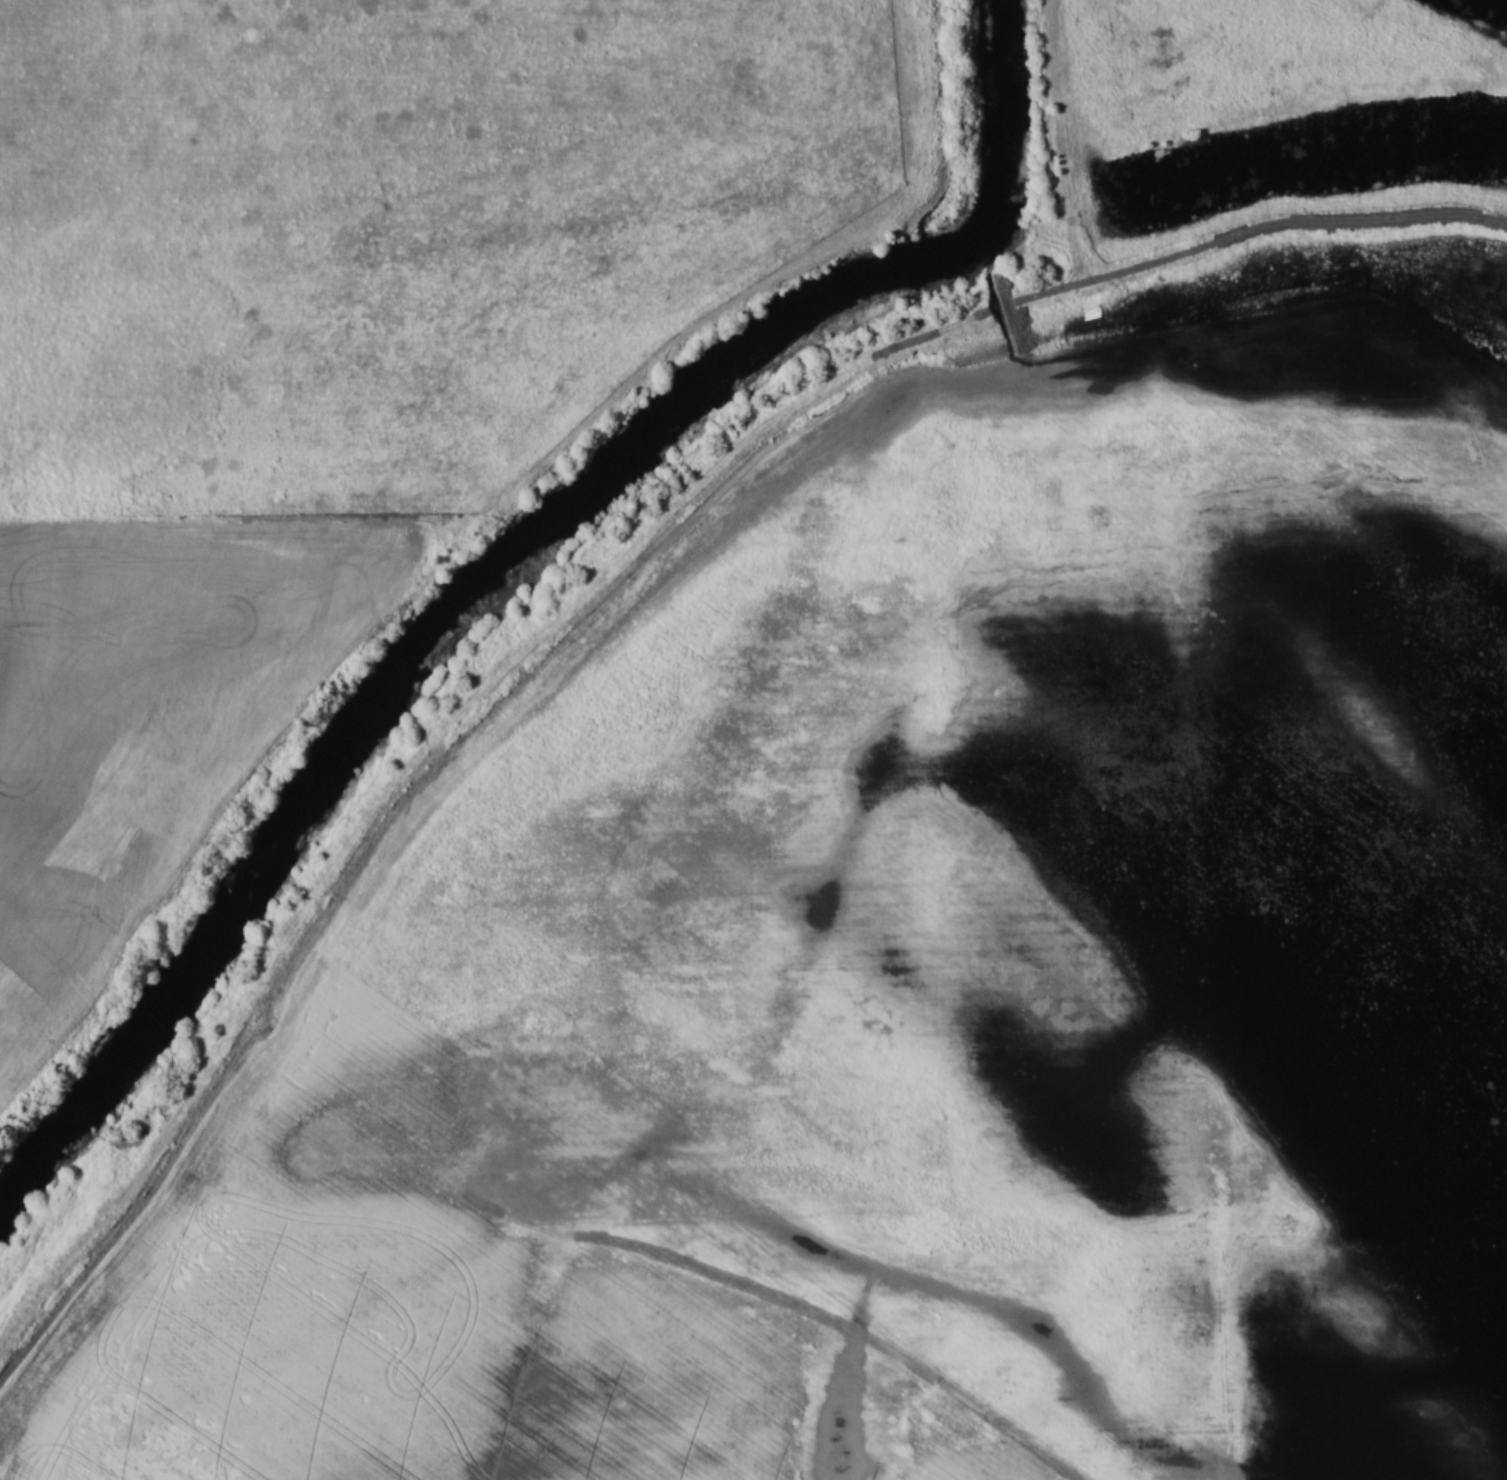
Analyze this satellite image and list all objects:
river: (1316, 154)
river: (513, 566)

